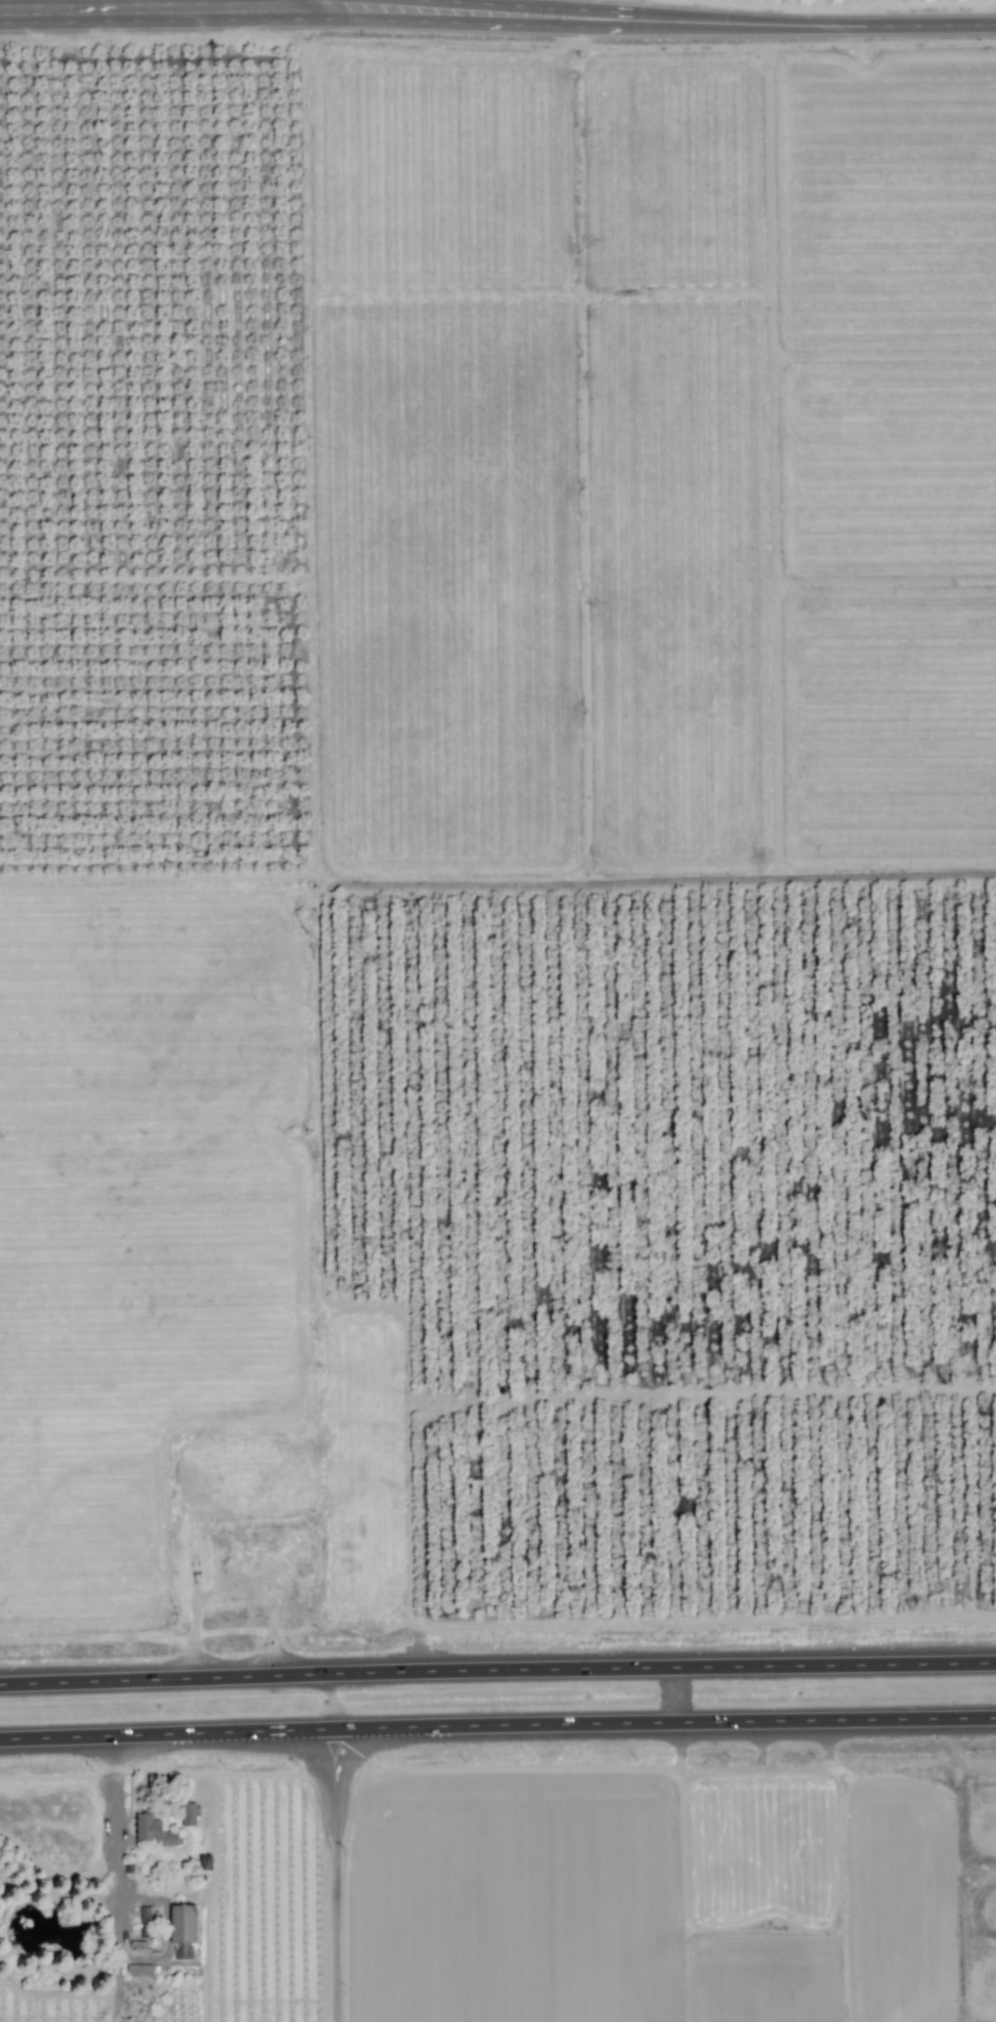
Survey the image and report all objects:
road: (284, 10)
road: (70, 12)
road: (608, 12)
crop: (143, 21)
road: (405, 22)
road: (902, 26)
crop: (499, 834)
road: (497, 1671)
road: (497, 1724)
building: (189, 1815)
building: (152, 1830)
building: (205, 1862)
road: (334, 1875)
road: (116, 1879)
crop: (502, 1895)
building: (145, 1916)
building: (181, 1924)
building: (139, 1970)

